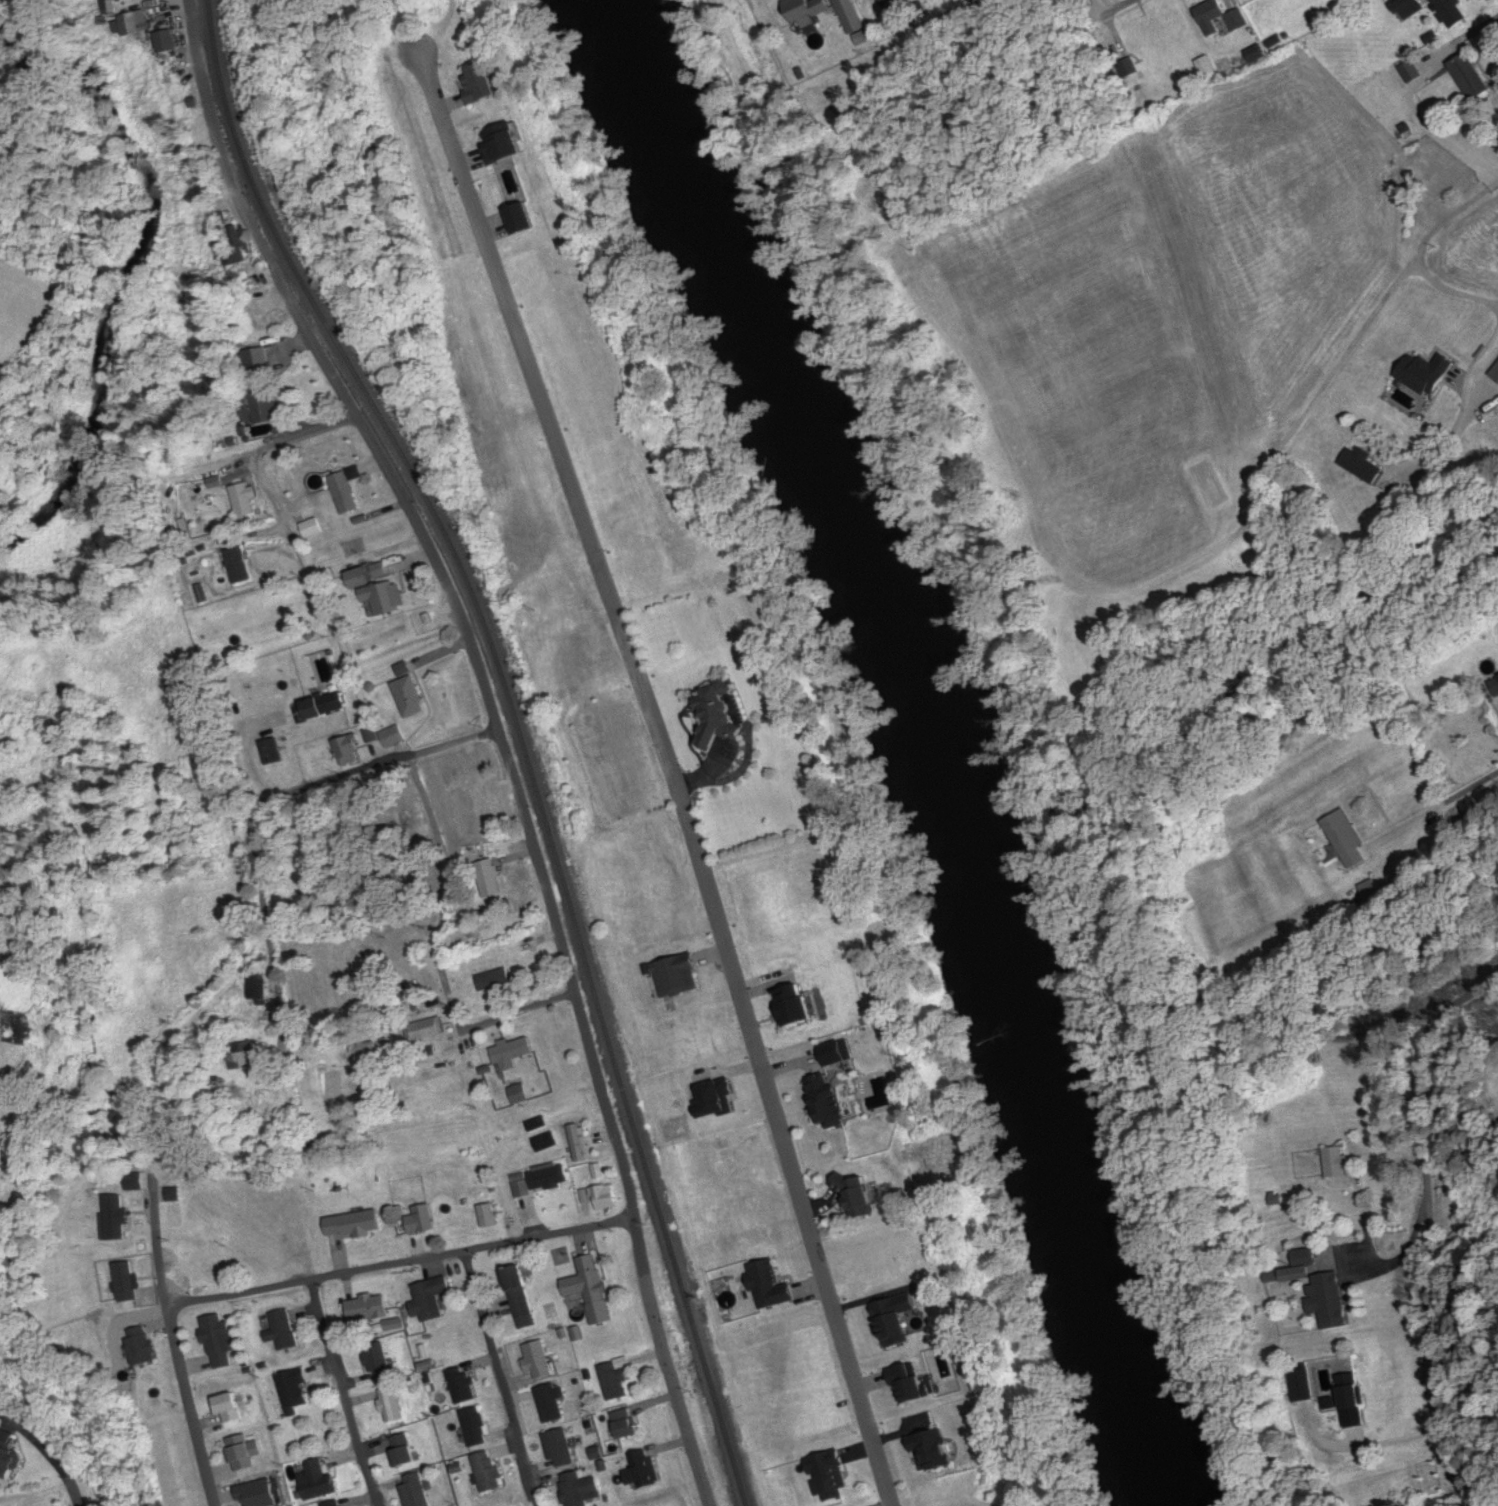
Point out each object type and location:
building: (1313, 2)
road: (1121, 9)
building: (1454, 10)
road: (191, 11)
building: (810, 11)
building: (853, 19)
building: (1216, 19)
building: (133, 24)
building: (164, 42)
building: (1473, 75)
road: (1425, 253)
building: (259, 362)
building: (1430, 374)
road: (1465, 402)
building: (263, 412)
road: (306, 438)
building: (1362, 464)
building: (345, 494)
building: (246, 499)
road: (402, 500)
building: (312, 529)
building: (240, 565)
building: (379, 593)
building: (1495, 686)
building: (410, 697)
building: (324, 705)
railway: (509, 735)
building: (395, 736)
river: (942, 737)
building: (349, 750)
road: (264, 754)
road: (669, 775)
road: (263, 807)
building: (1341, 834)
building: (1369, 889)
road: (425, 937)
road: (321, 960)
building: (257, 990)
building: (797, 1005)
building: (13, 1025)
road: (485, 1027)
building: (425, 1030)
building: (370, 1045)
building: (246, 1054)
building: (513, 1066)
building: (831, 1100)
road: (605, 1106)
building: (537, 1124)
road: (304, 1126)
building: (545, 1142)
building: (577, 1142)
building: (1337, 1162)
building: (541, 1179)
building: (605, 1193)
building: (857, 1199)
building: (488, 1215)
building: (119, 1219)
building: (422, 1219)
building: (354, 1224)
road: (1430, 1228)
road: (157, 1239)
road: (1465, 1256)
road: (428, 1258)
building: (128, 1280)
building: (592, 1288)
building: (519, 1291)
building: (432, 1297)
building: (1329, 1299)
road: (195, 1300)
road: (171, 1305)
building: (369, 1307)
building: (889, 1324)
building: (283, 1328)
building: (219, 1339)
building: (142, 1346)
building: (379, 1359)
building: (538, 1359)
road: (664, 1363)
building: (616, 1378)
road: (500, 1379)
building: (906, 1382)
building: (295, 1389)
road: (342, 1394)
building: (552, 1402)
building: (392, 1404)
building: (232, 1407)
road: (192, 1414)
building: (626, 1422)
building: (477, 1426)
building: (560, 1446)
building: (403, 1450)
building: (930, 1452)
building: (242, 1453)
building: (8, 1457)
building: (490, 1470)
building: (638, 1472)
building: (828, 1477)
building: (321, 1479)
building: (581, 1489)
building: (412, 1493)
building: (259, 1494)
building: (337, 1503)

